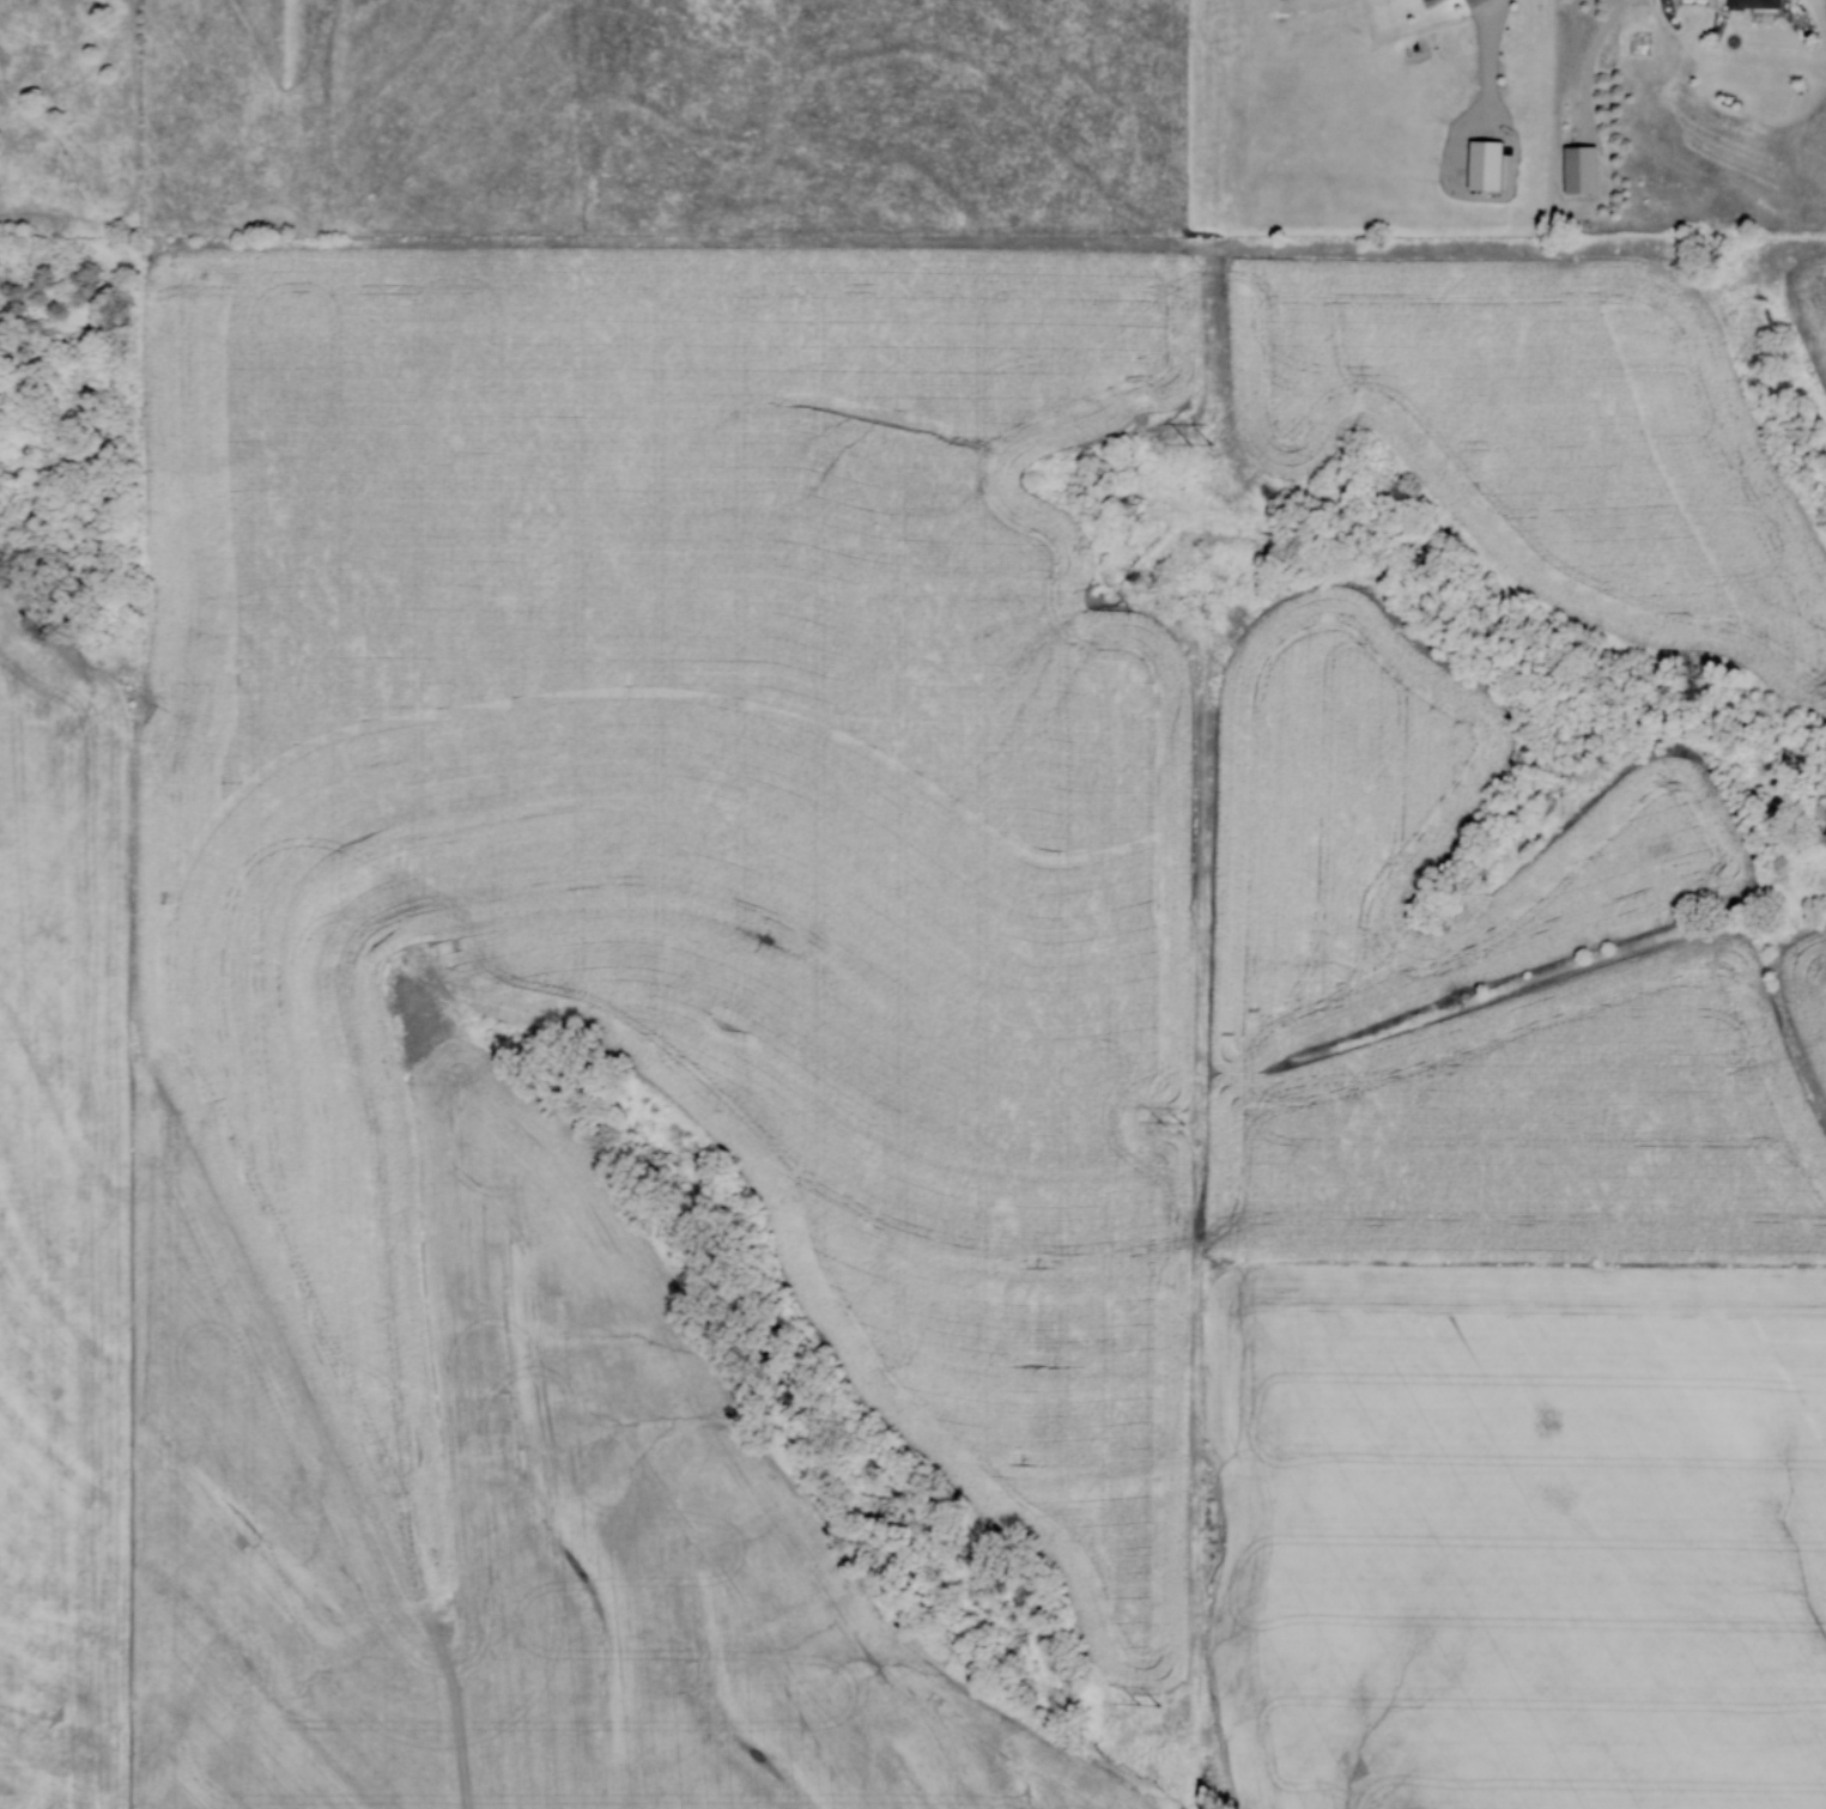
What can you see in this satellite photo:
building: (1748, 5)
building: (1575, 170)
power tower: (1200, 448)
power tower: (1170, 1129)
power tower: (1145, 1708)

